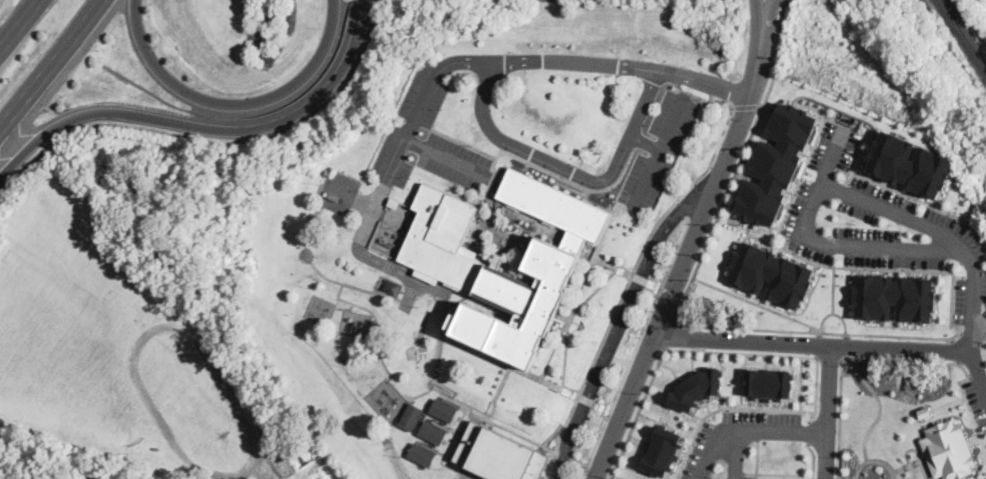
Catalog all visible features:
road: (759, 12)
road: (769, 12)
road: (25, 15)
road: (363, 16)
railway: (964, 35)
road: (6, 38)
road: (779, 41)
road: (349, 59)
road: (591, 63)
road: (51, 64)
road: (766, 94)
road: (235, 103)
road: (644, 103)
road: (746, 106)
road: (162, 119)
road: (411, 123)
road: (646, 142)
road: (659, 153)
road: (536, 154)
road: (443, 156)
building: (775, 163)
building: (909, 164)
building: (393, 203)
road: (807, 208)
road: (672, 252)
road: (685, 253)
road: (802, 256)
building: (457, 269)
road: (902, 269)
building: (771, 274)
road: (627, 284)
building: (392, 286)
road: (670, 293)
building: (894, 297)
road: (758, 303)
road: (835, 312)
road: (624, 321)
road: (971, 322)
road: (712, 326)
road: (672, 328)
road: (817, 343)
road: (812, 344)
road: (847, 345)
road: (200, 351)
road: (703, 351)
road: (830, 358)
road: (892, 359)
road: (856, 364)
road: (619, 382)
building: (767, 383)
building: (695, 389)
track: (193, 402)
road: (949, 402)
road: (879, 406)
building: (443, 411)
road: (827, 412)
building: (925, 412)
building: (411, 417)
road: (783, 430)
road: (806, 432)
building: (432, 433)
road: (910, 448)
road: (711, 449)
building: (948, 449)
building: (662, 451)
building: (421, 455)
building: (500, 455)
road: (735, 455)
road: (876, 459)
road: (813, 460)
road: (909, 465)
road: (900, 473)
road: (847, 476)

